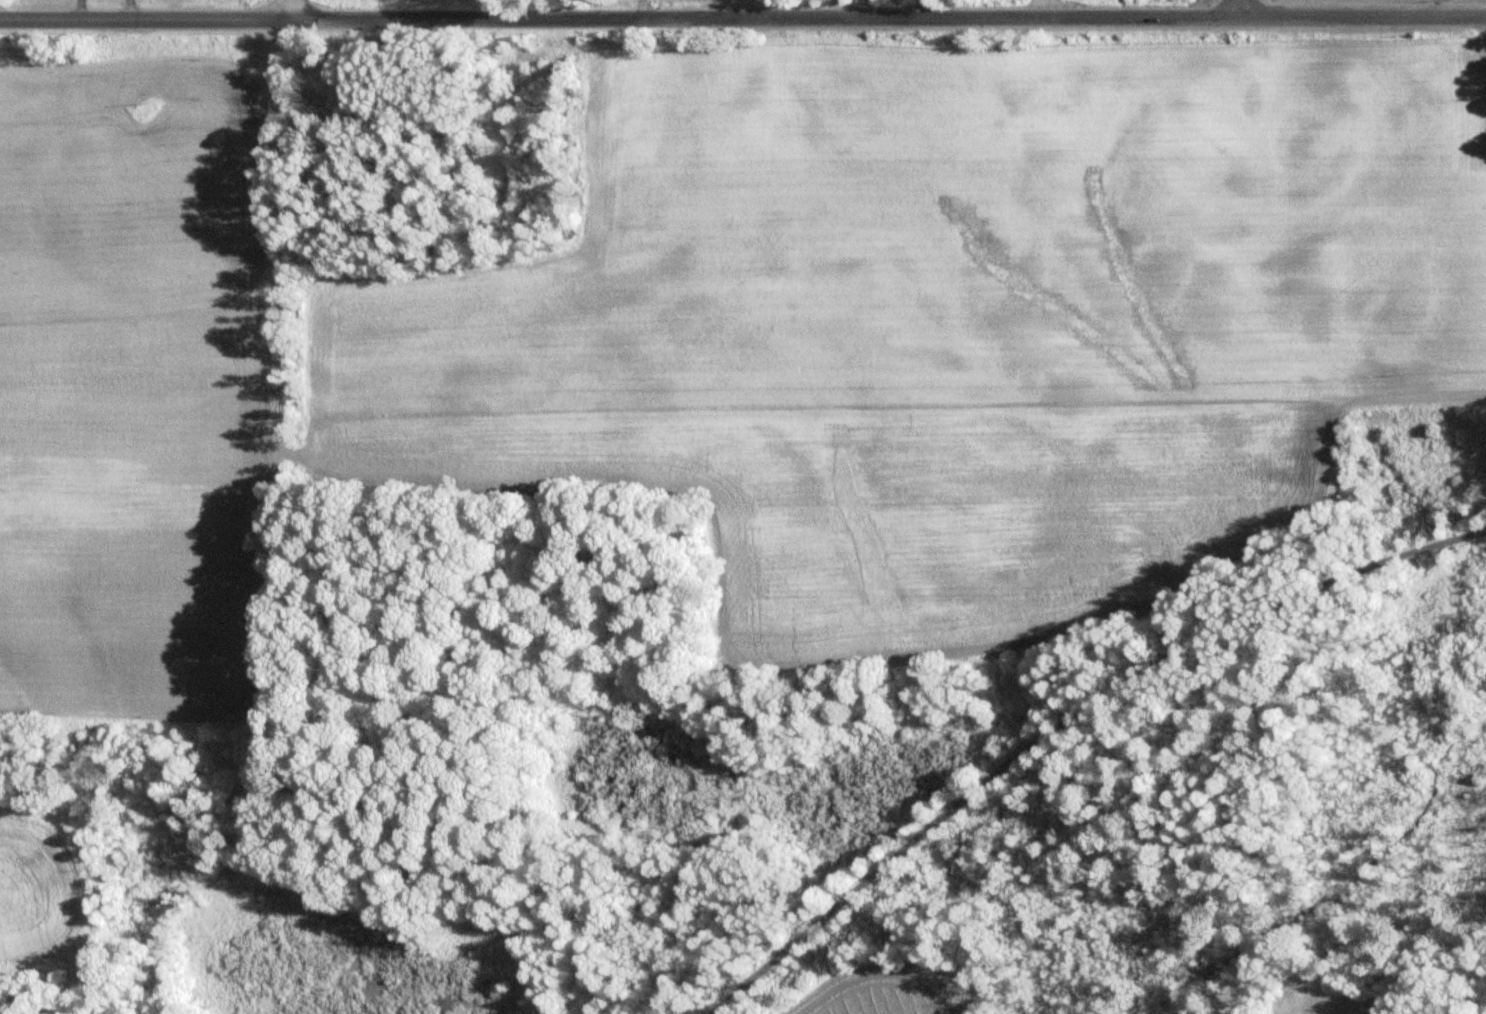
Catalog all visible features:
road: (1238, 7)
road: (292, 10)
road: (888, 16)
road: (146, 19)
road: (1061, 712)

